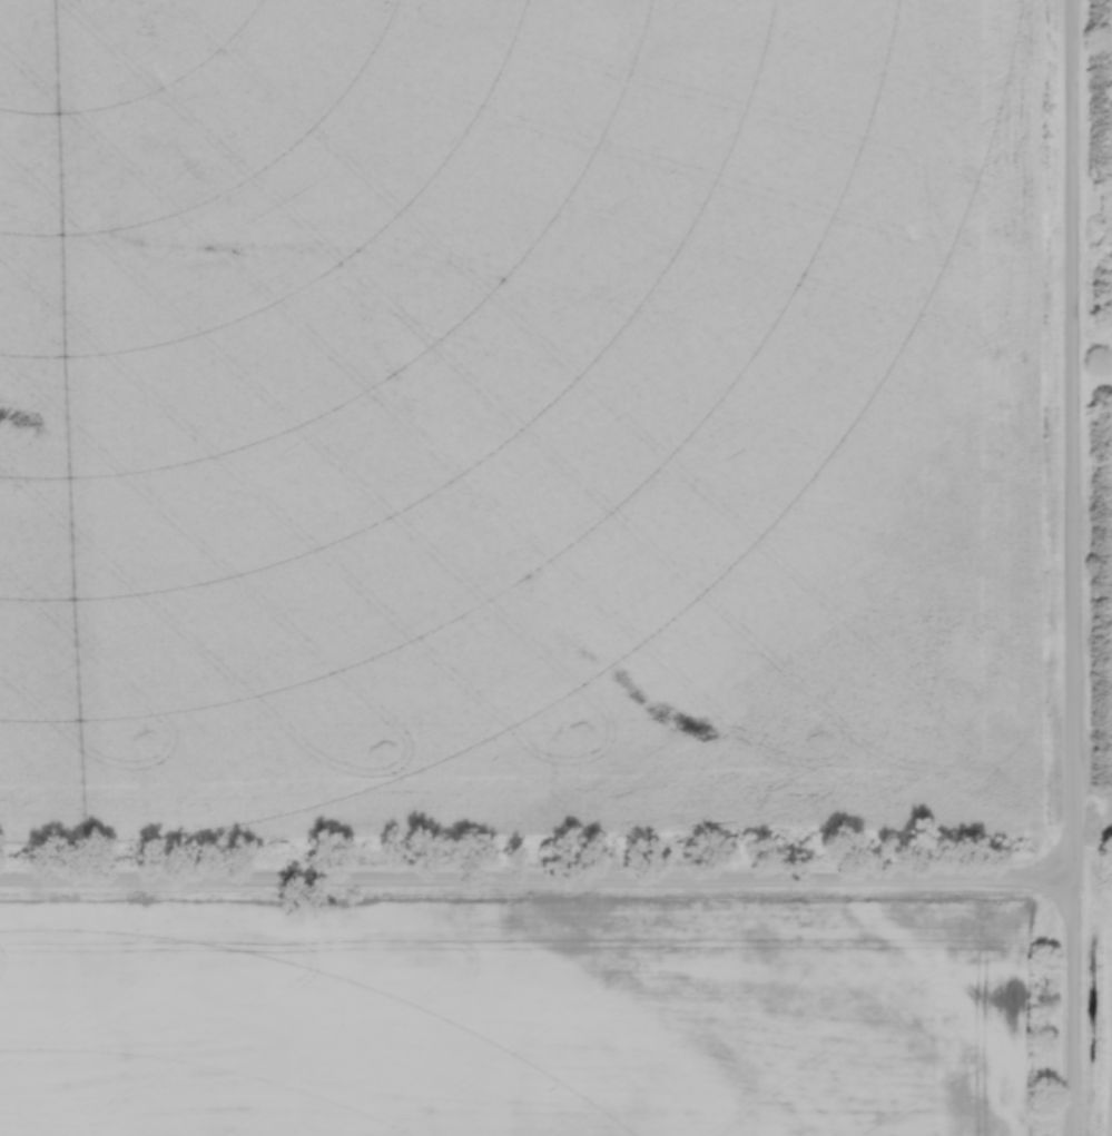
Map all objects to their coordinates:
road: (1074, 567)
road: (538, 885)

